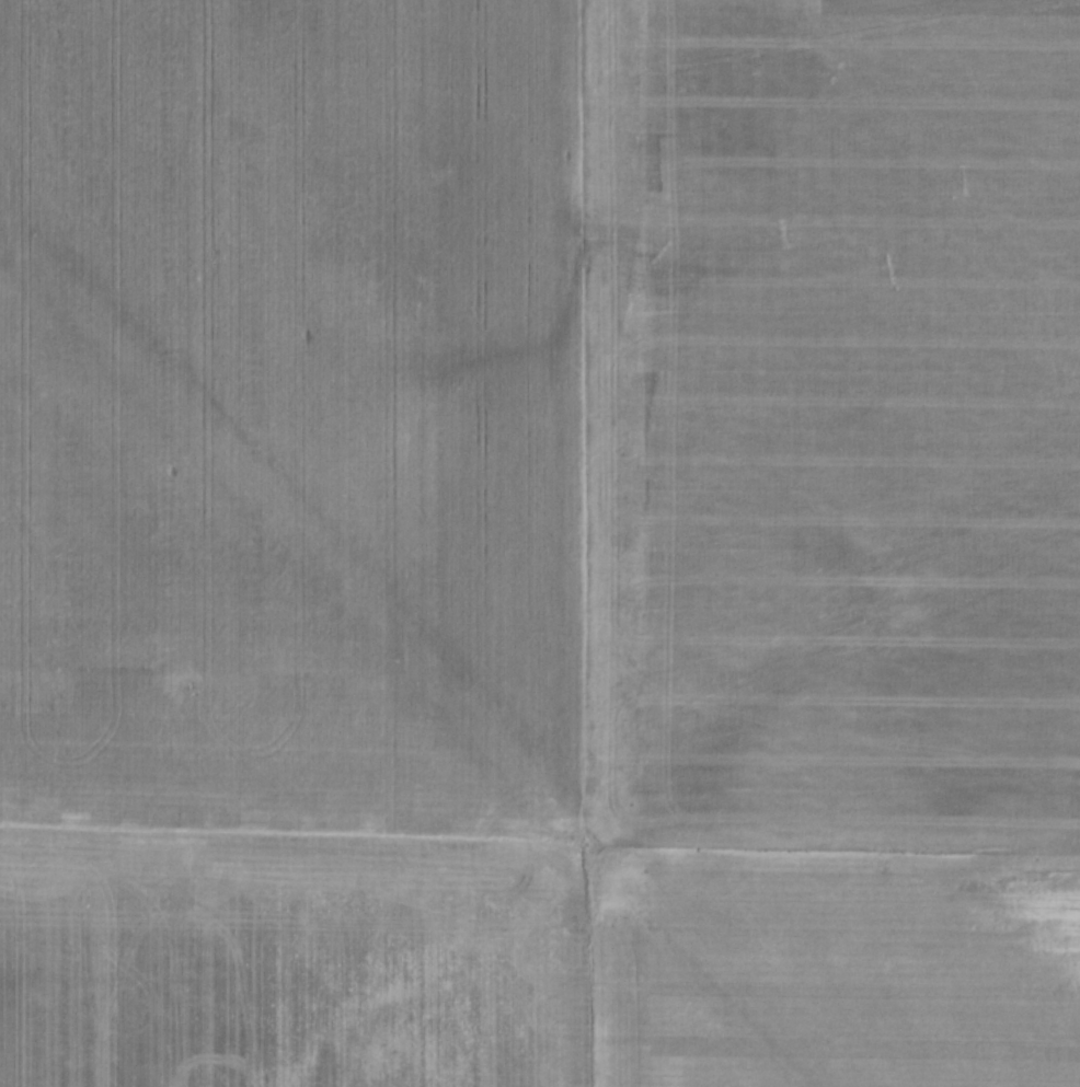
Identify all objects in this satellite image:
crop: (540, 543)

